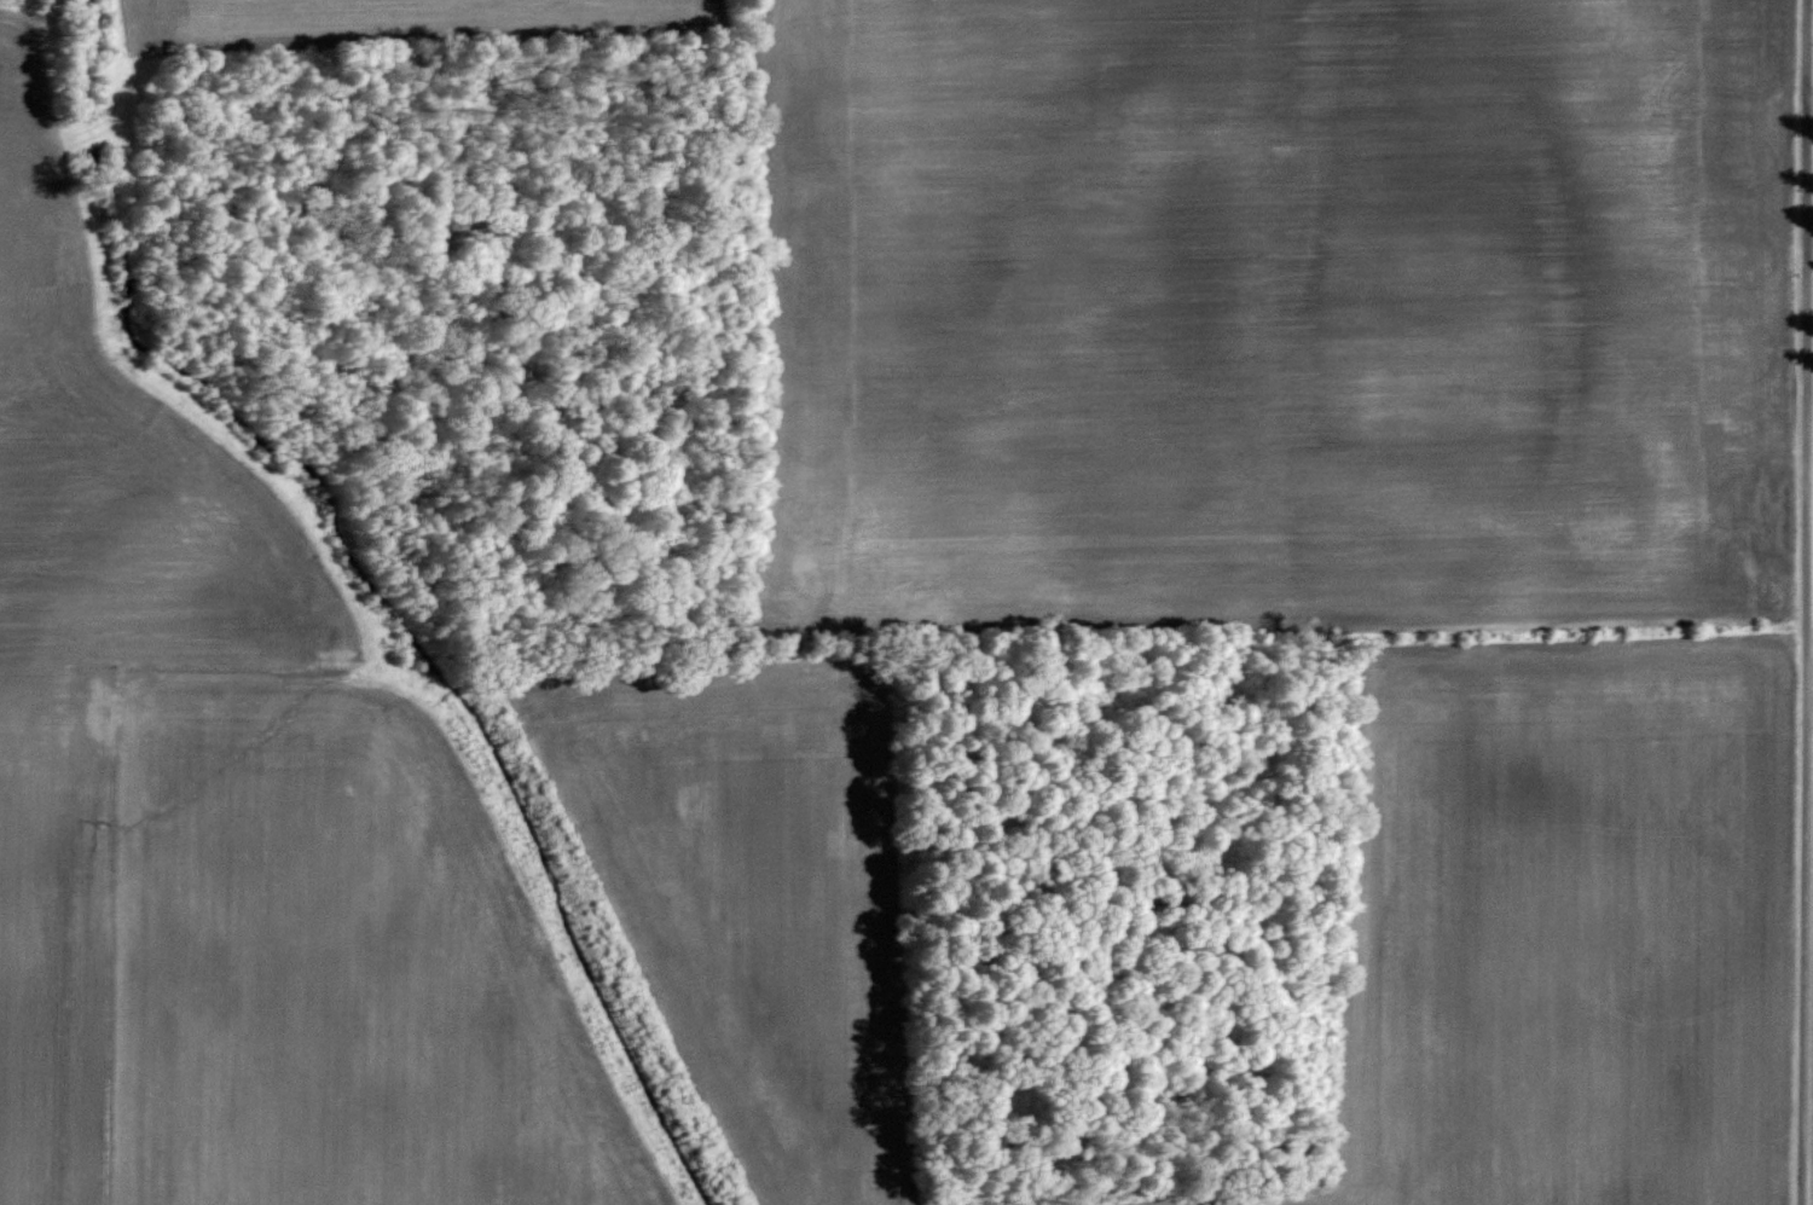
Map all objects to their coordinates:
road: (1806, 881)

